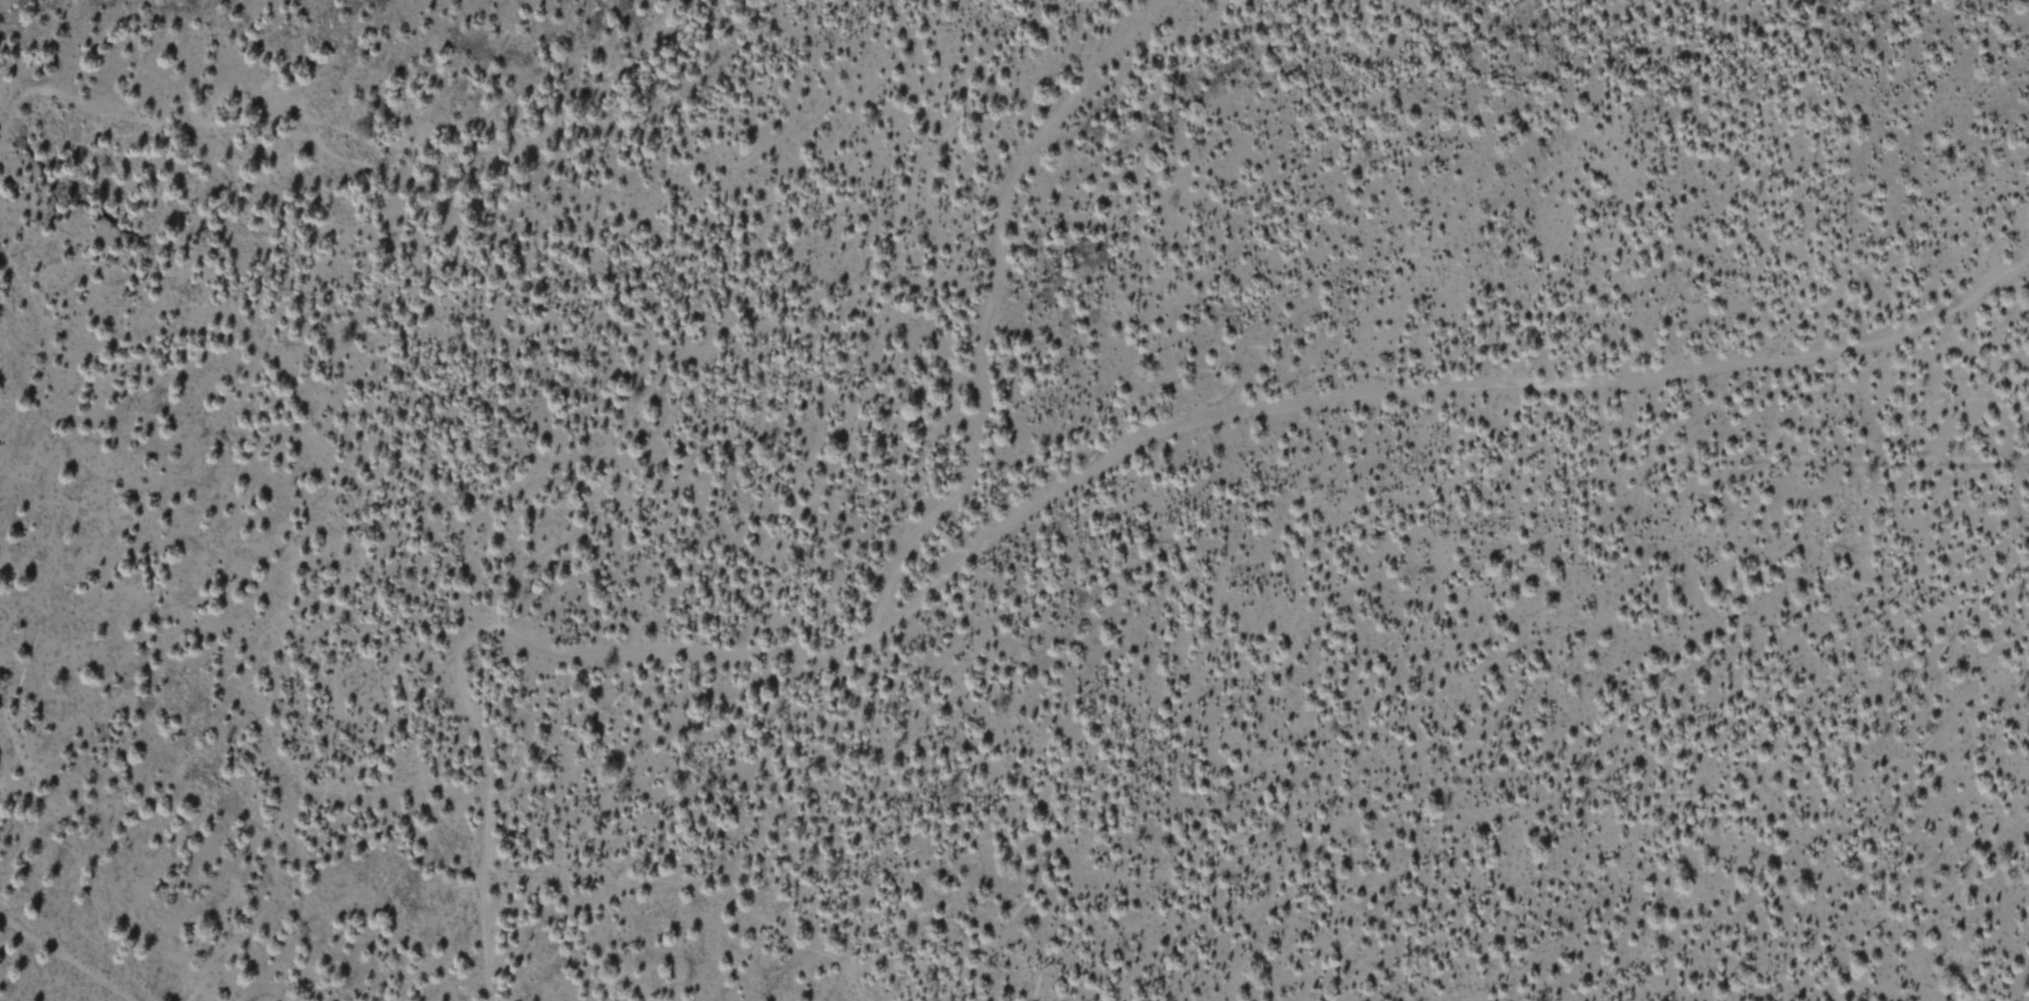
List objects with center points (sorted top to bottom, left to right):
road: (988, 299)
road: (1050, 496)
road: (60, 957)

